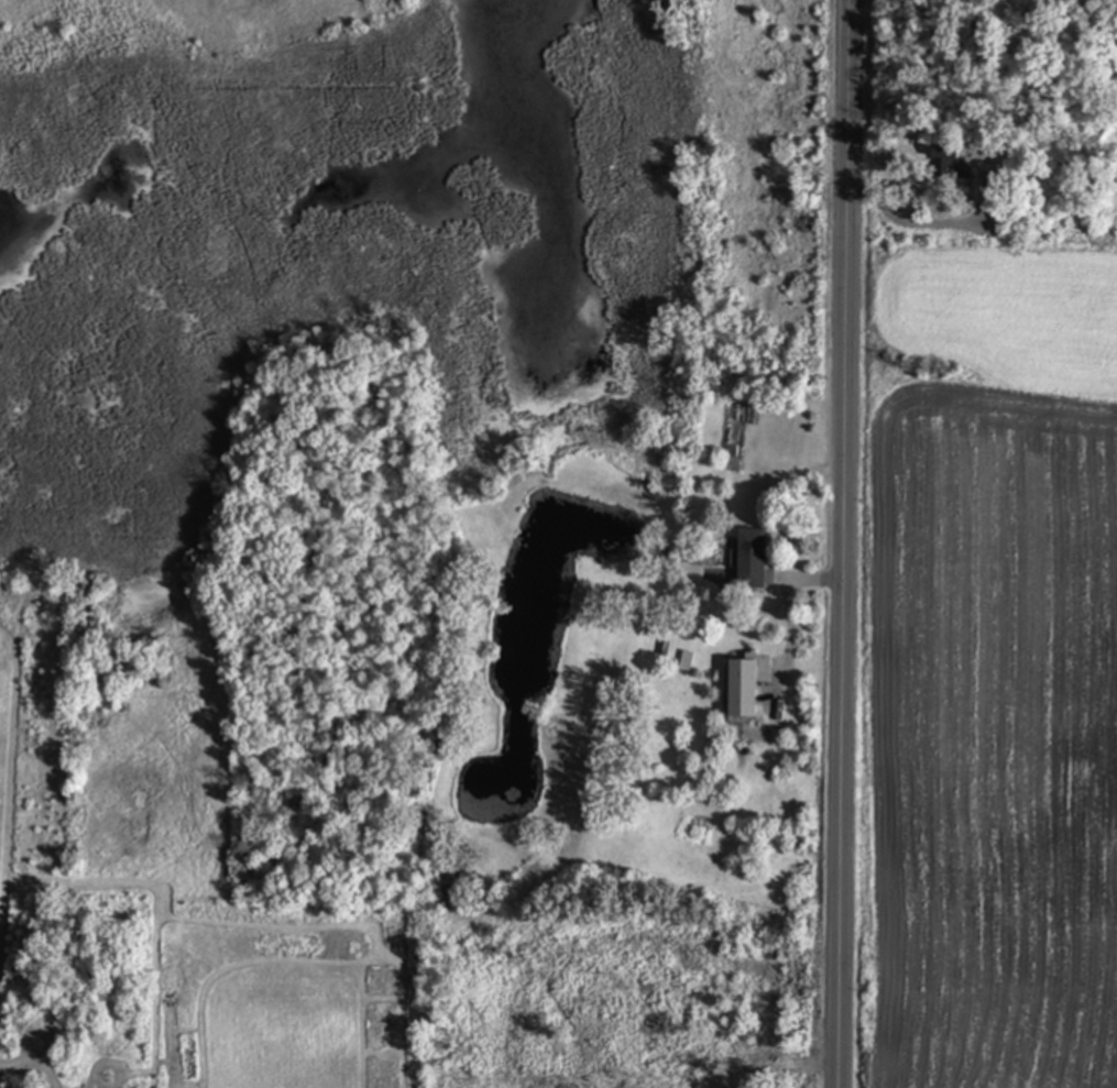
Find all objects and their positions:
building: (948, 161)
road: (847, 543)
building: (753, 561)

